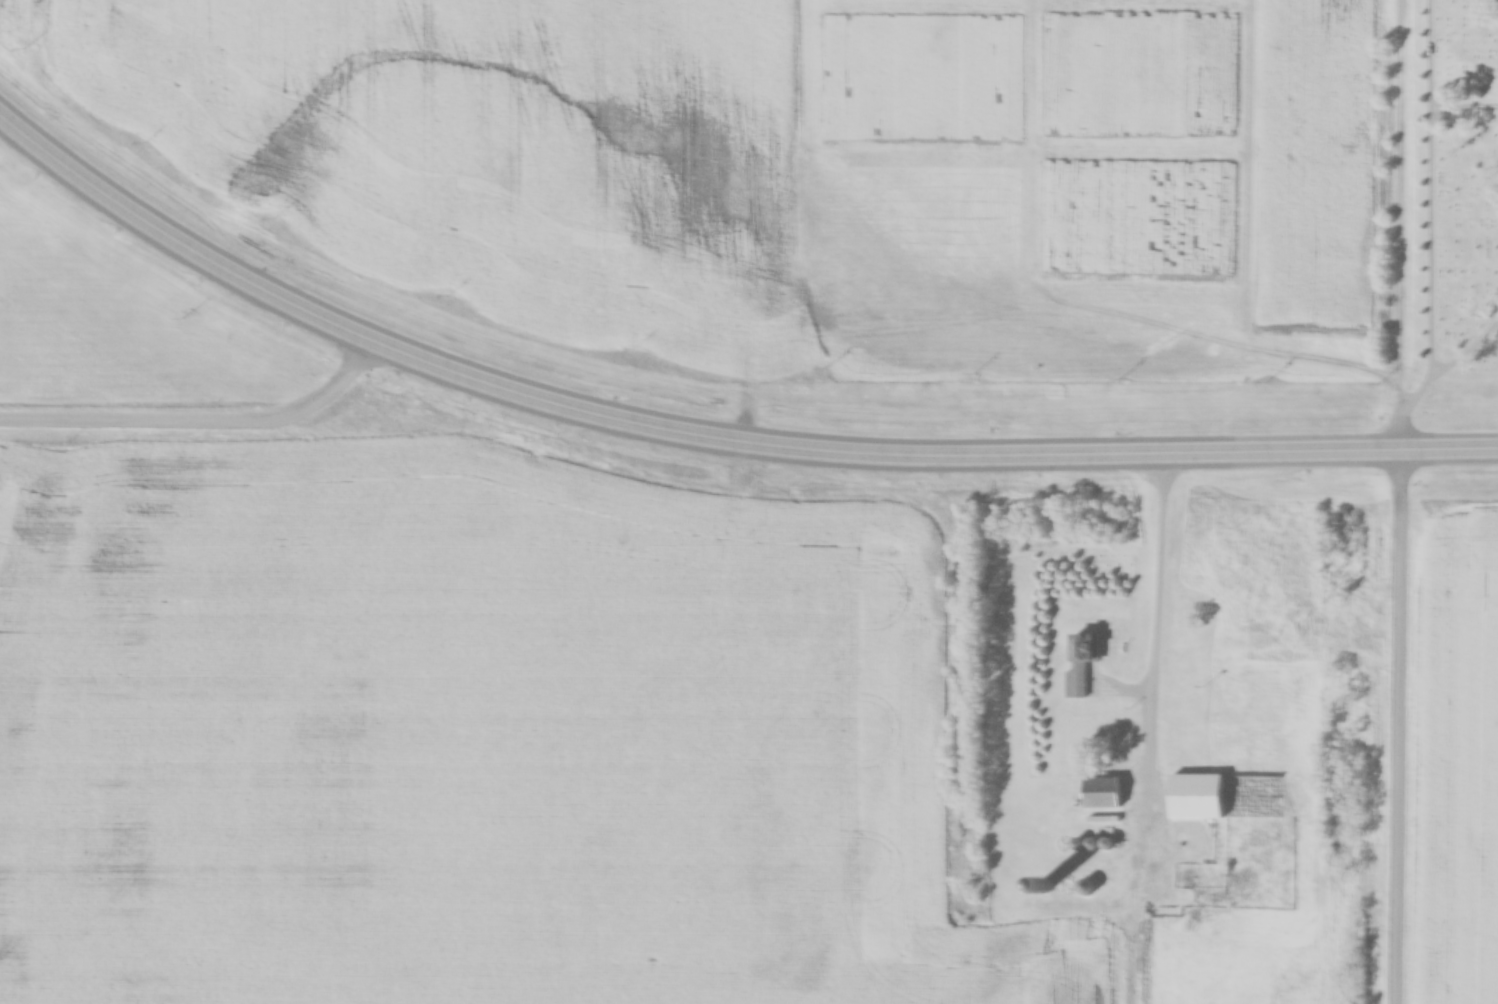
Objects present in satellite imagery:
road: (202, 421)
road: (709, 446)
road: (1400, 501)
road: (1158, 629)
building: (1081, 664)
building: (1102, 793)
building: (1197, 796)

